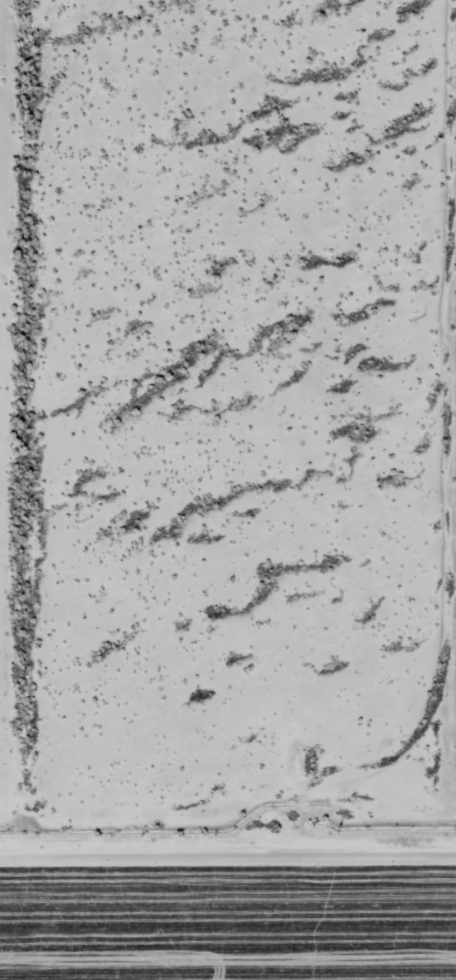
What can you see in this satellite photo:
road: (228, 880)

